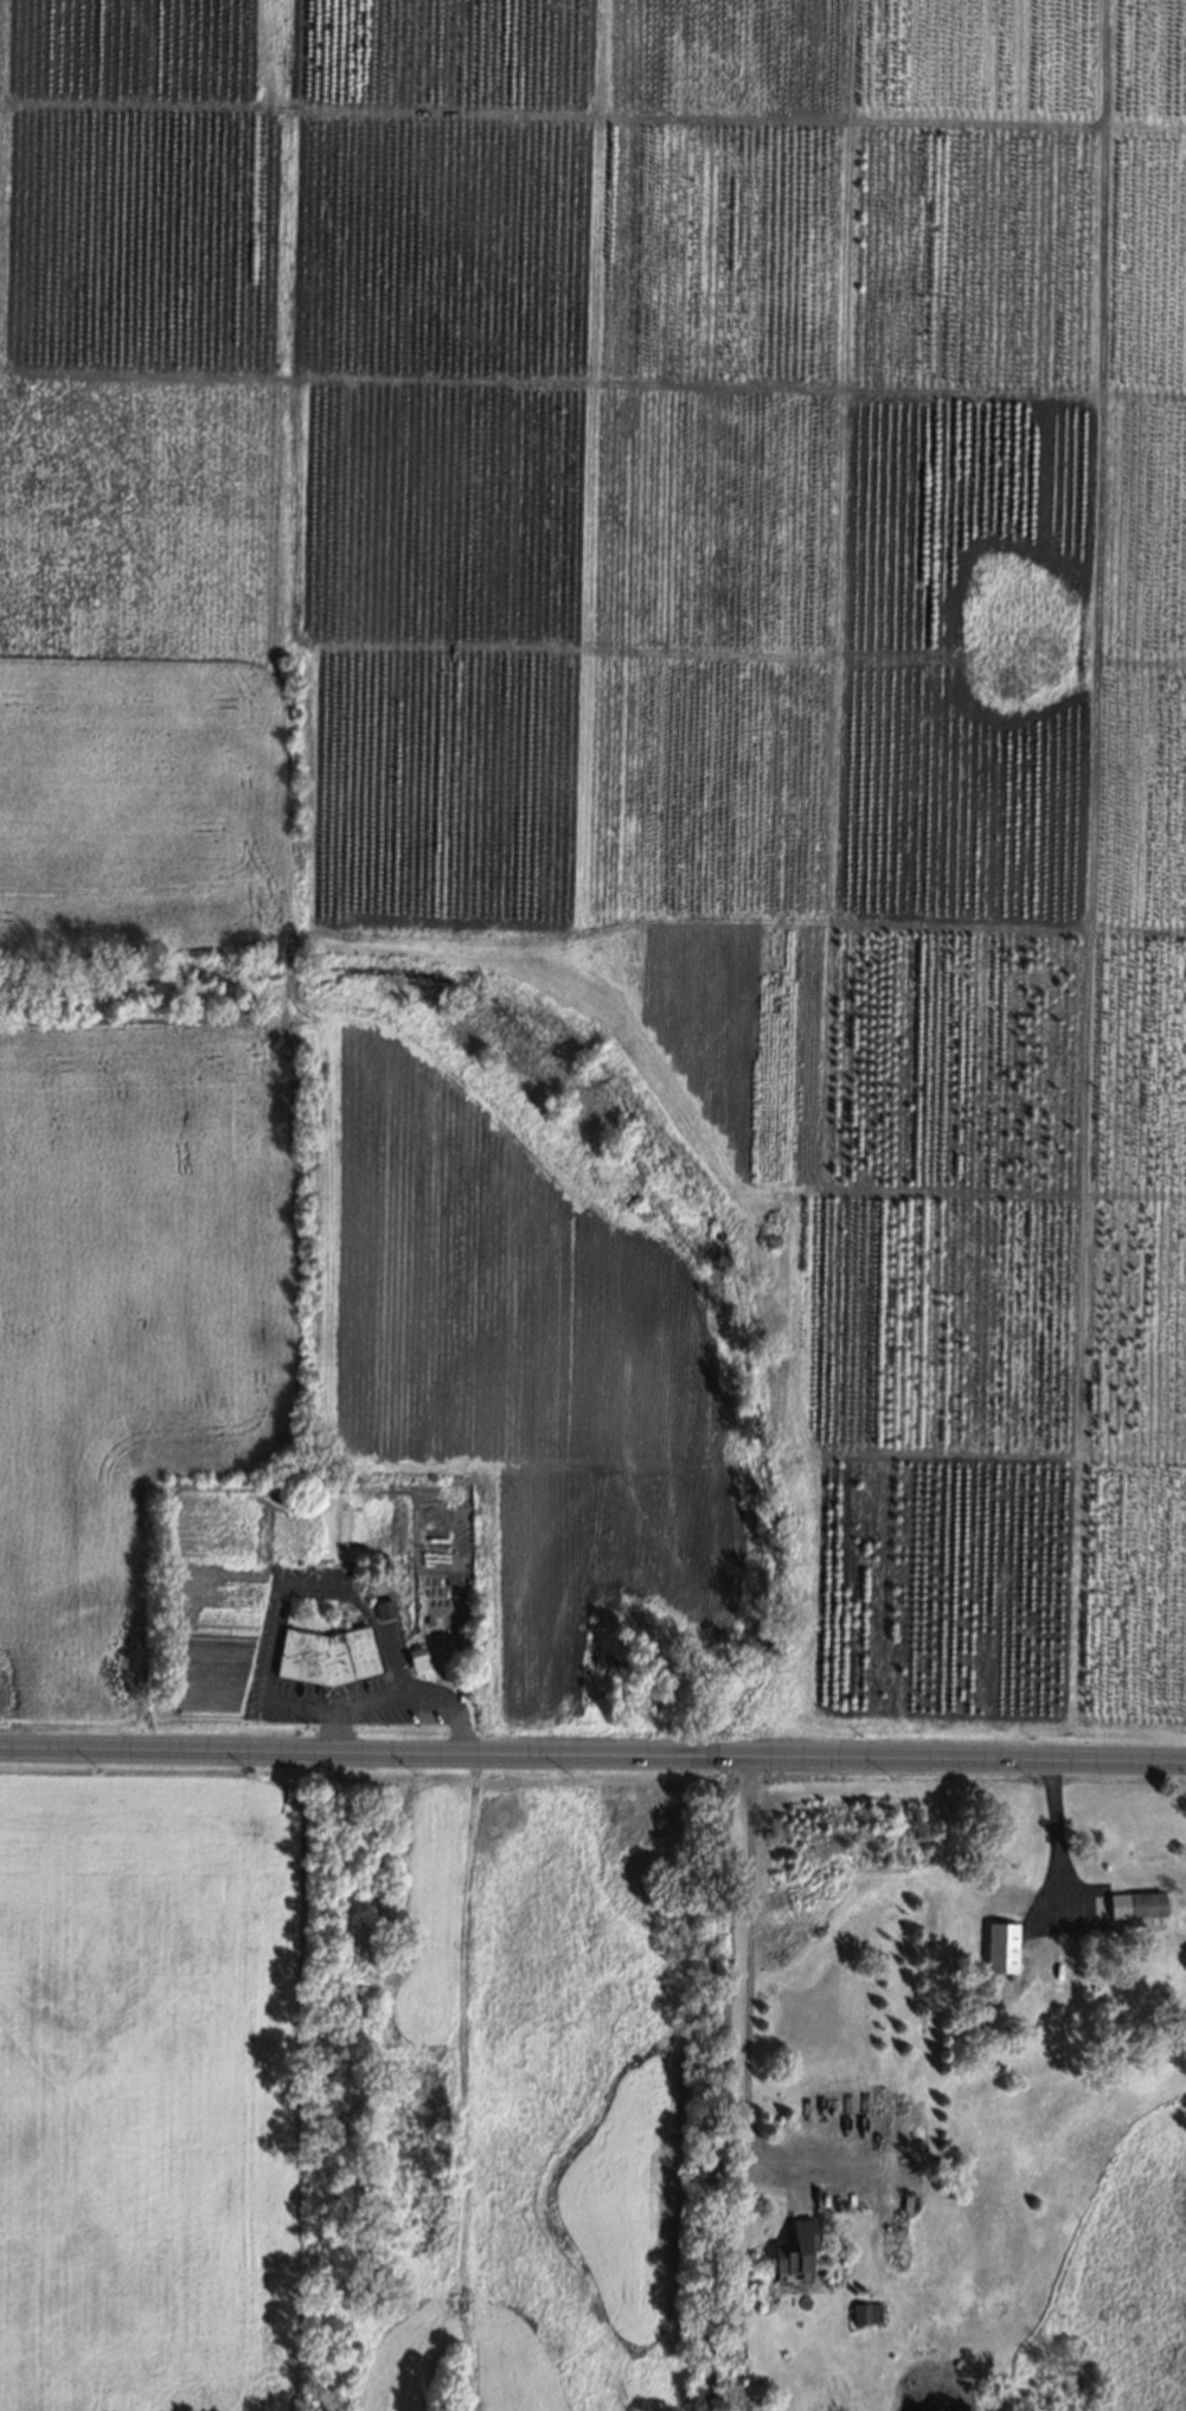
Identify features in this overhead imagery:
road: (296, 1581)
building: (379, 1609)
building: (326, 1655)
building: (415, 1656)
road: (430, 1700)
road: (592, 1756)
road: (1054, 1838)
building: (1134, 1906)
building: (999, 1945)
road: (745, 2004)
building: (791, 2247)
building: (864, 2311)

